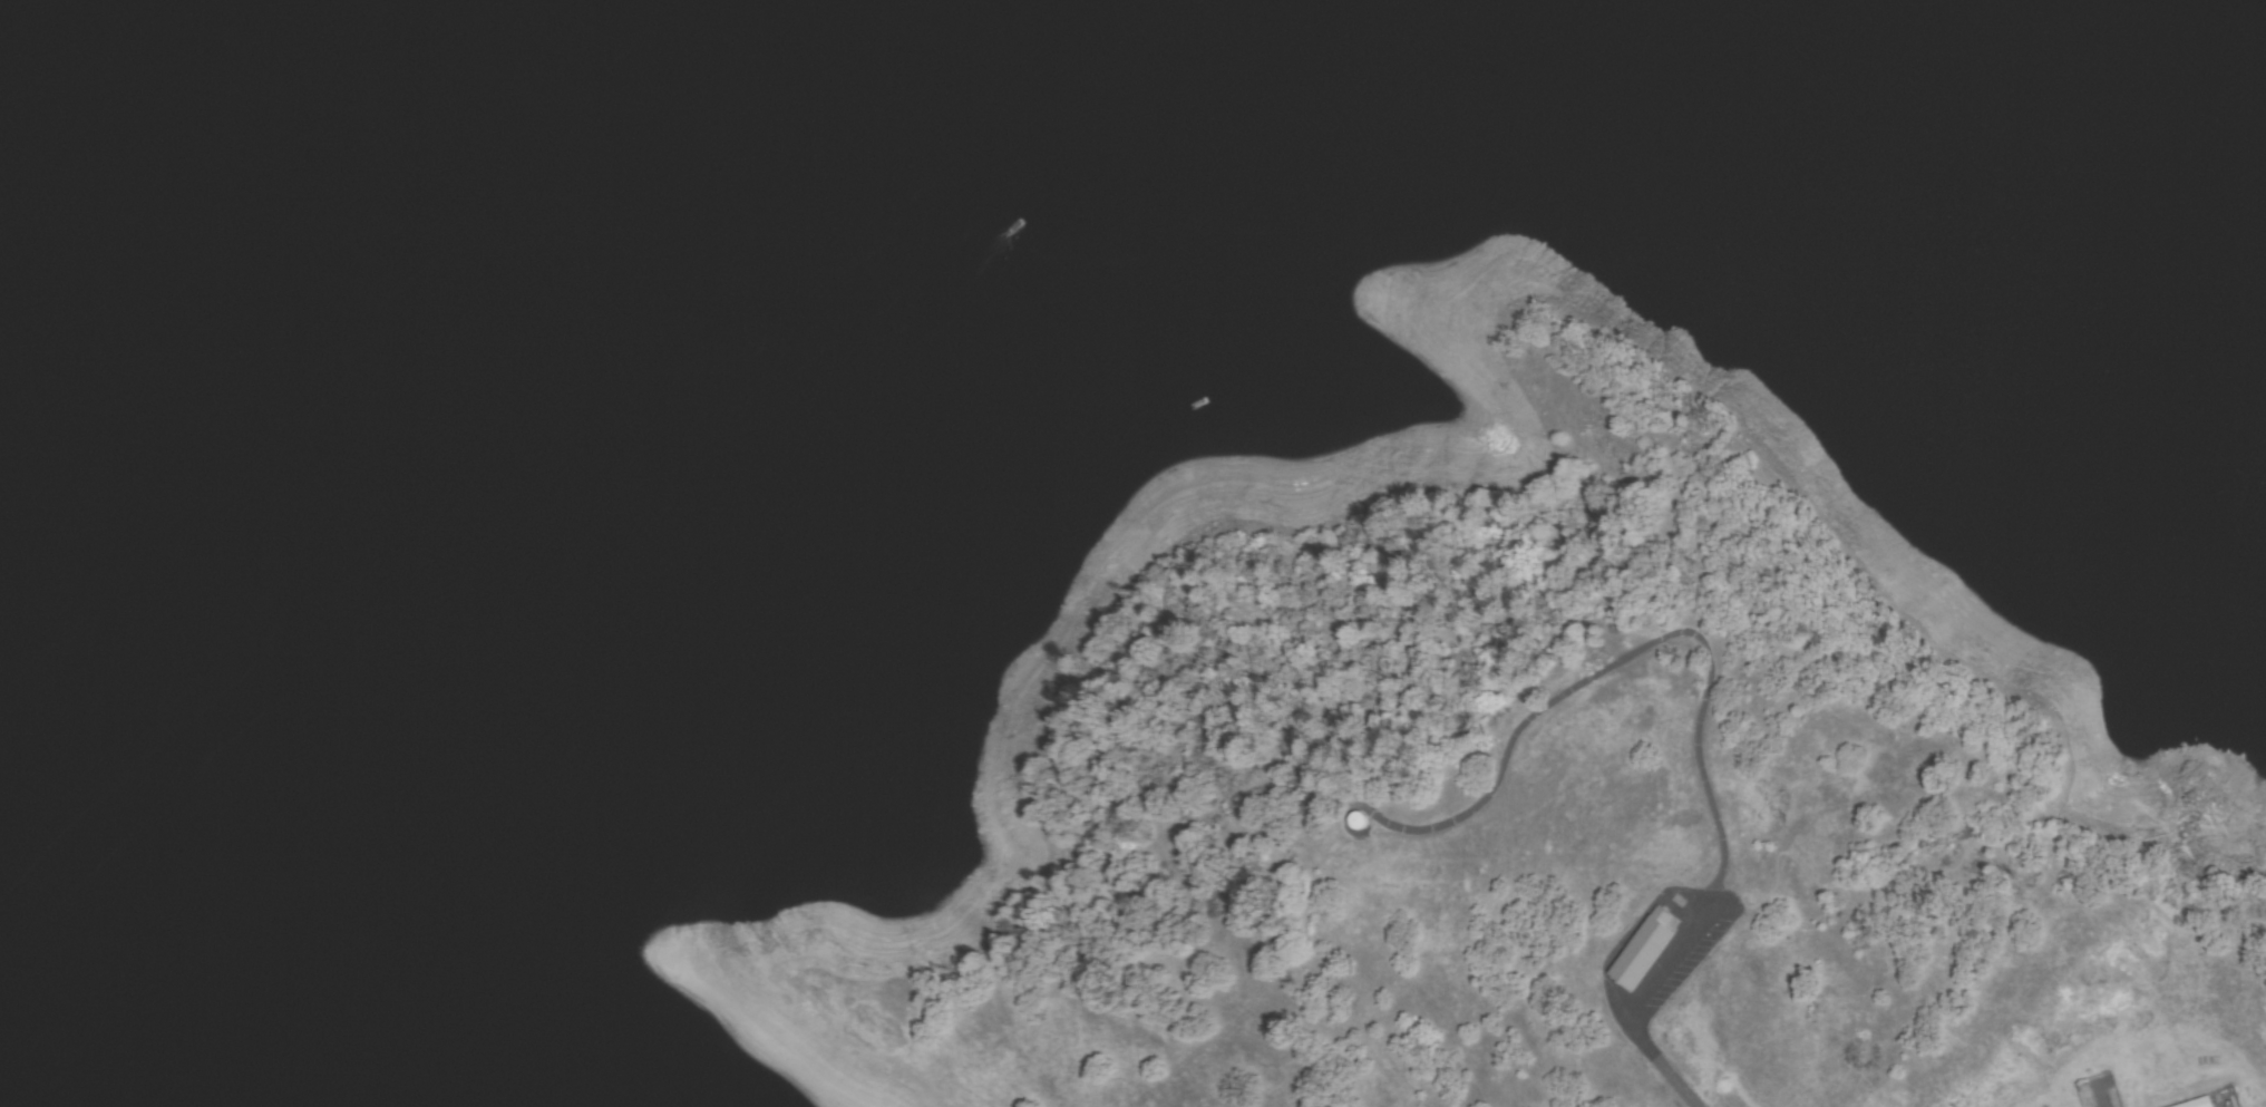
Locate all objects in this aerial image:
road: (1715, 697)
storage tank: (1358, 820)
building: (1646, 949)
building: (2199, 1104)

